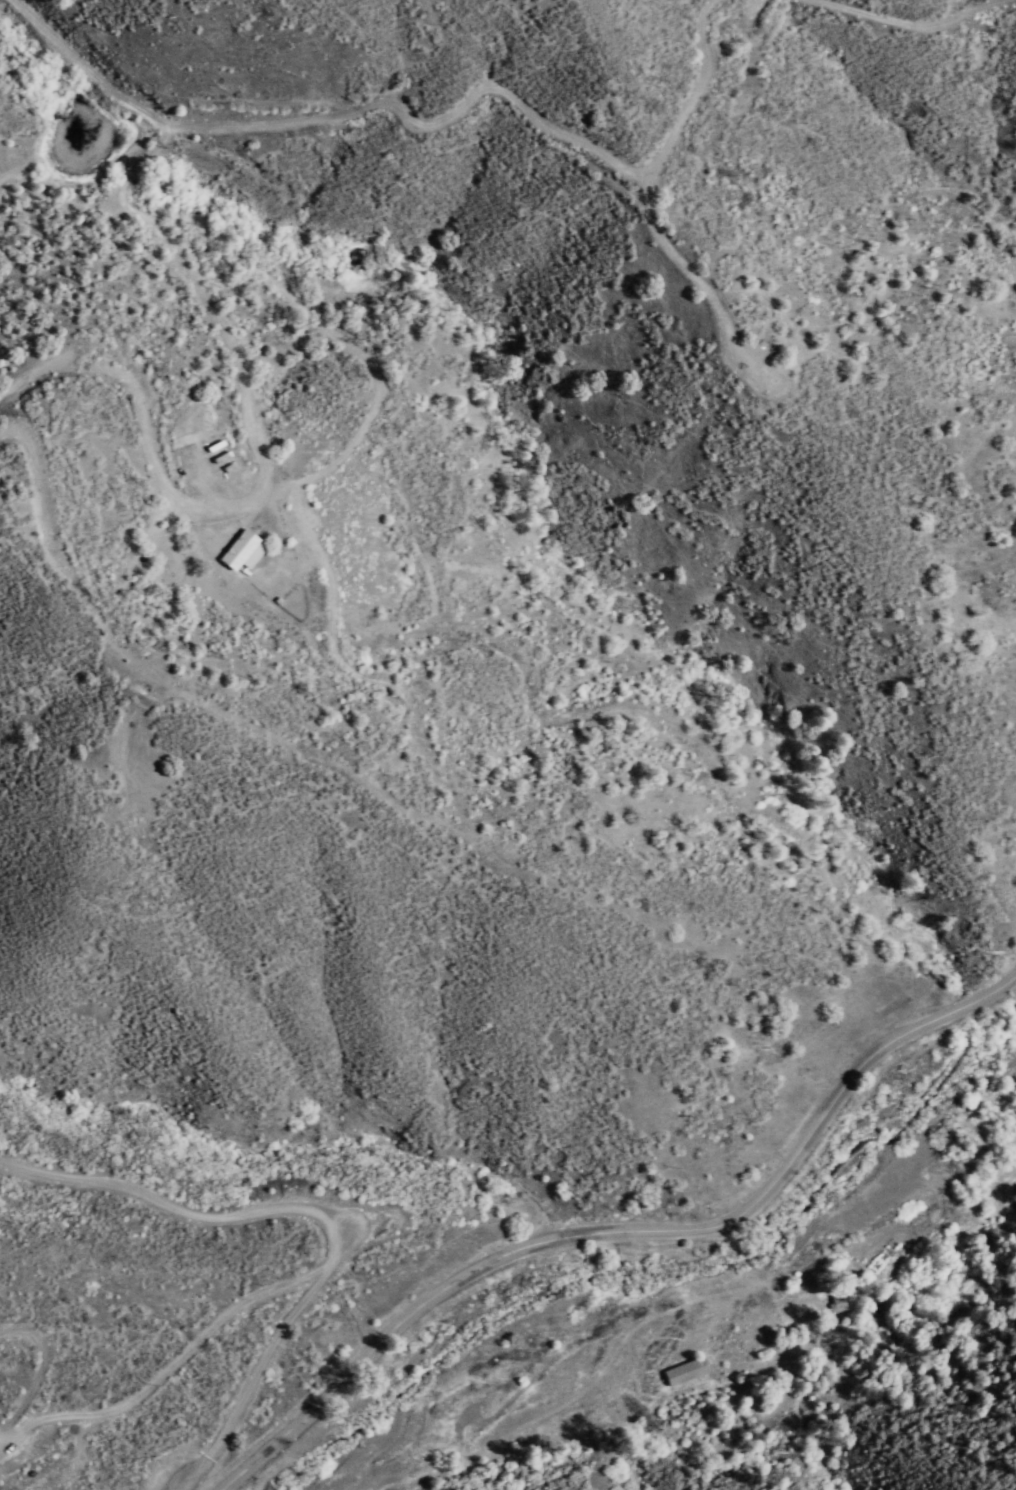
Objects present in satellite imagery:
road: (134, 391)
building: (242, 553)
road: (323, 1214)
road: (619, 1228)
building: (840, 1303)
building: (684, 1372)

